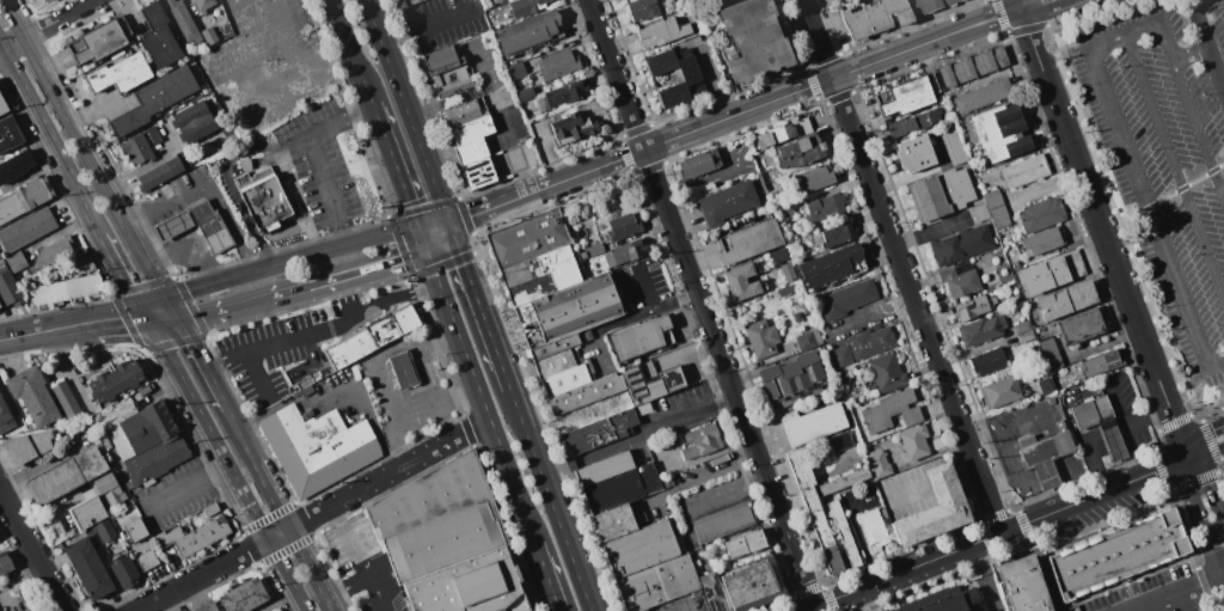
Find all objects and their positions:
building: (43, 0)
building: (45, 0)
building: (962, 0)
building: (497, 1)
building: (406, 2)
road: (1017, 4)
road: (1022, 4)
building: (203, 5)
building: (525, 6)
building: (931, 6)
road: (1045, 8)
building: (643, 10)
building: (877, 18)
road: (56, 19)
building: (183, 20)
road: (427, 24)
road: (1164, 25)
road: (1201, 25)
building: (530, 32)
building: (661, 32)
building: (159, 35)
building: (209, 35)
building: (103, 39)
building: (753, 39)
road: (13, 43)
road: (1112, 43)
road: (1066, 47)
road: (2, 49)
road: (354, 53)
road: (1195, 56)
building: (558, 65)
road: (1218, 65)
building: (973, 66)
building: (447, 71)
building: (519, 71)
building: (120, 73)
building: (677, 78)
building: (526, 93)
building: (565, 93)
building: (984, 94)
road: (781, 96)
building: (908, 97)
building: (157, 99)
road: (32, 100)
building: (543, 104)
building: (2, 106)
road: (406, 110)
building: (465, 111)
road: (501, 118)
building: (194, 122)
road: (1200, 122)
building: (913, 123)
building: (803, 126)
building: (571, 128)
building: (472, 129)
building: (1003, 132)
building: (10, 134)
building: (154, 134)
building: (775, 135)
building: (218, 140)
building: (953, 146)
road: (81, 149)
building: (137, 151)
building: (471, 151)
building: (801, 152)
building: (914, 153)
road: (316, 157)
building: (759, 157)
parking lot: (1168, 157)
building: (699, 163)
road: (1176, 163)
building: (246, 164)
parking lot: (322, 164)
building: (16, 166)
road: (398, 166)
building: (1024, 170)
building: (769, 171)
building: (160, 173)
building: (478, 173)
road: (227, 177)
building: (813, 178)
road: (208, 187)
building: (941, 194)
building: (264, 197)
road: (1163, 197)
building: (25, 198)
road: (82, 198)
building: (727, 203)
road: (496, 204)
building: (567, 206)
road: (1095, 206)
building: (824, 207)
building: (996, 208)
building: (784, 212)
building: (980, 213)
building: (1041, 214)
road: (1155, 214)
traffic signals: (448, 222)
building: (173, 225)
road: (435, 225)
building: (210, 226)
building: (622, 226)
traffic signals: (422, 227)
building: (26, 230)
building: (837, 234)
road: (439, 237)
building: (528, 237)
road: (426, 239)
building: (751, 242)
building: (1042, 242)
building: (961, 245)
building: (595, 249)
building: (53, 251)
traffic signals: (429, 252)
building: (626, 252)
building: (778, 255)
building: (81, 261)
building: (17, 262)
road: (293, 262)
building: (778, 264)
building: (1015, 264)
road: (901, 265)
building: (832, 267)
road: (435, 268)
building: (545, 268)
road: (369, 269)
building: (1049, 273)
road: (122, 274)
building: (960, 280)
building: (743, 282)
building: (10, 288)
road: (645, 288)
building: (532, 289)
building: (63, 291)
road: (396, 297)
road: (347, 298)
building: (846, 299)
building: (1066, 299)
traffic signals: (165, 300)
road: (703, 303)
road: (245, 304)
road: (479, 305)
building: (0, 306)
road: (155, 306)
building: (973, 307)
building: (568, 310)
traffic signals: (146, 313)
road: (163, 317)
road: (118, 318)
road: (630, 318)
traffic signals: (179, 320)
building: (1081, 326)
building: (1022, 328)
road: (44, 330)
building: (981, 330)
building: (373, 336)
building: (641, 337)
building: (761, 337)
building: (1026, 337)
building: (808, 340)
road: (274, 342)
road: (398, 346)
building: (863, 346)
road: (197, 352)
parking lot: (279, 352)
building: (1049, 353)
building: (555, 355)
road: (226, 361)
building: (989, 362)
building: (1100, 363)
building: (403, 368)
building: (355, 372)
building: (887, 372)
road: (427, 373)
building: (843, 377)
building: (567, 378)
building: (673, 379)
building: (792, 379)
building: (116, 381)
building: (643, 383)
building: (1045, 386)
road: (1202, 389)
building: (306, 390)
building: (999, 391)
building: (586, 392)
building: (32, 395)
building: (66, 399)
building: (1051, 401)
road: (726, 403)
road: (1116, 403)
road: (396, 409)
building: (891, 410)
road: (488, 413)
building: (308, 414)
building: (5, 417)
road: (1128, 421)
road: (1177, 421)
building: (812, 423)
building: (1100, 423)
road: (1010, 427)
building: (599, 432)
road: (1180, 433)
road: (239, 435)
road: (1202, 436)
building: (104, 440)
road: (629, 440)
building: (700, 440)
building: (840, 440)
building: (916, 440)
building: (147, 441)
road: (1158, 441)
road: (1211, 441)
building: (30, 445)
building: (318, 447)
road: (1207, 453)
building: (1044, 456)
traffic signals: (1191, 459)
road: (226, 462)
road: (1098, 463)
building: (879, 464)
road: (1161, 471)
road: (1223, 472)
road: (832, 473)
road: (966, 473)
road: (1018, 473)
building: (67, 475)
road: (698, 478)
road: (1003, 481)
road: (1195, 481)
building: (616, 482)
road: (941, 483)
building: (128, 484)
road: (806, 484)
road: (188, 485)
road: (1211, 487)
building: (109, 490)
road: (787, 493)
parking lot: (173, 494)
building: (430, 495)
road: (726, 495)
road: (908, 495)
road: (551, 499)
building: (934, 509)
road: (1198, 511)
building: (123, 513)
road: (312, 514)
building: (92, 519)
building: (117, 519)
building: (184, 521)
building: (722, 521)
building: (614, 523)
building: (873, 525)
building: (819, 526)
building: (134, 530)
road: (856, 530)
road: (997, 533)
building: (196, 534)
building: (844, 534)
road: (289, 537)
road: (350, 539)
building: (446, 540)
building: (745, 544)
road: (1008, 545)
building: (643, 546)
road: (31, 550)
road: (1194, 552)
building: (1118, 554)
building: (145, 557)
building: (5, 562)
building: (88, 566)
building: (124, 570)
road: (1147, 574)
road: (547, 576)
road: (986, 578)
building: (657, 582)
building: (752, 585)
road: (1021, 585)
building: (1022, 585)
building: (471, 586)
road: (347, 587)
building: (714, 592)
road: (378, 593)
road: (1183, 593)
parking lot: (990, 594)
parking lot: (1155, 594)
building: (245, 595)
road: (1130, 597)
road: (867, 599)
building: (944, 600)
building: (209, 607)

